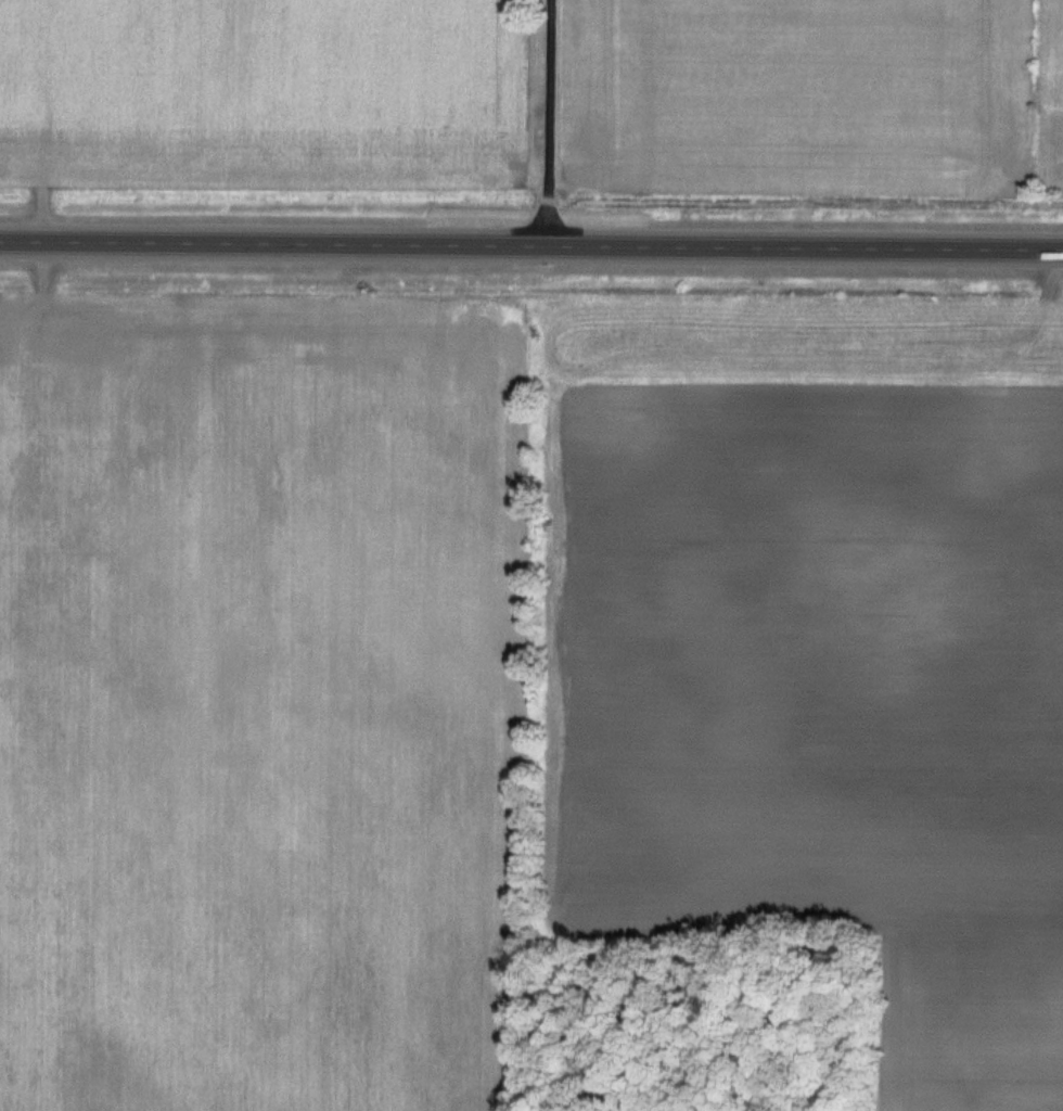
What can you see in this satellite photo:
road: (542, 123)
road: (530, 244)

